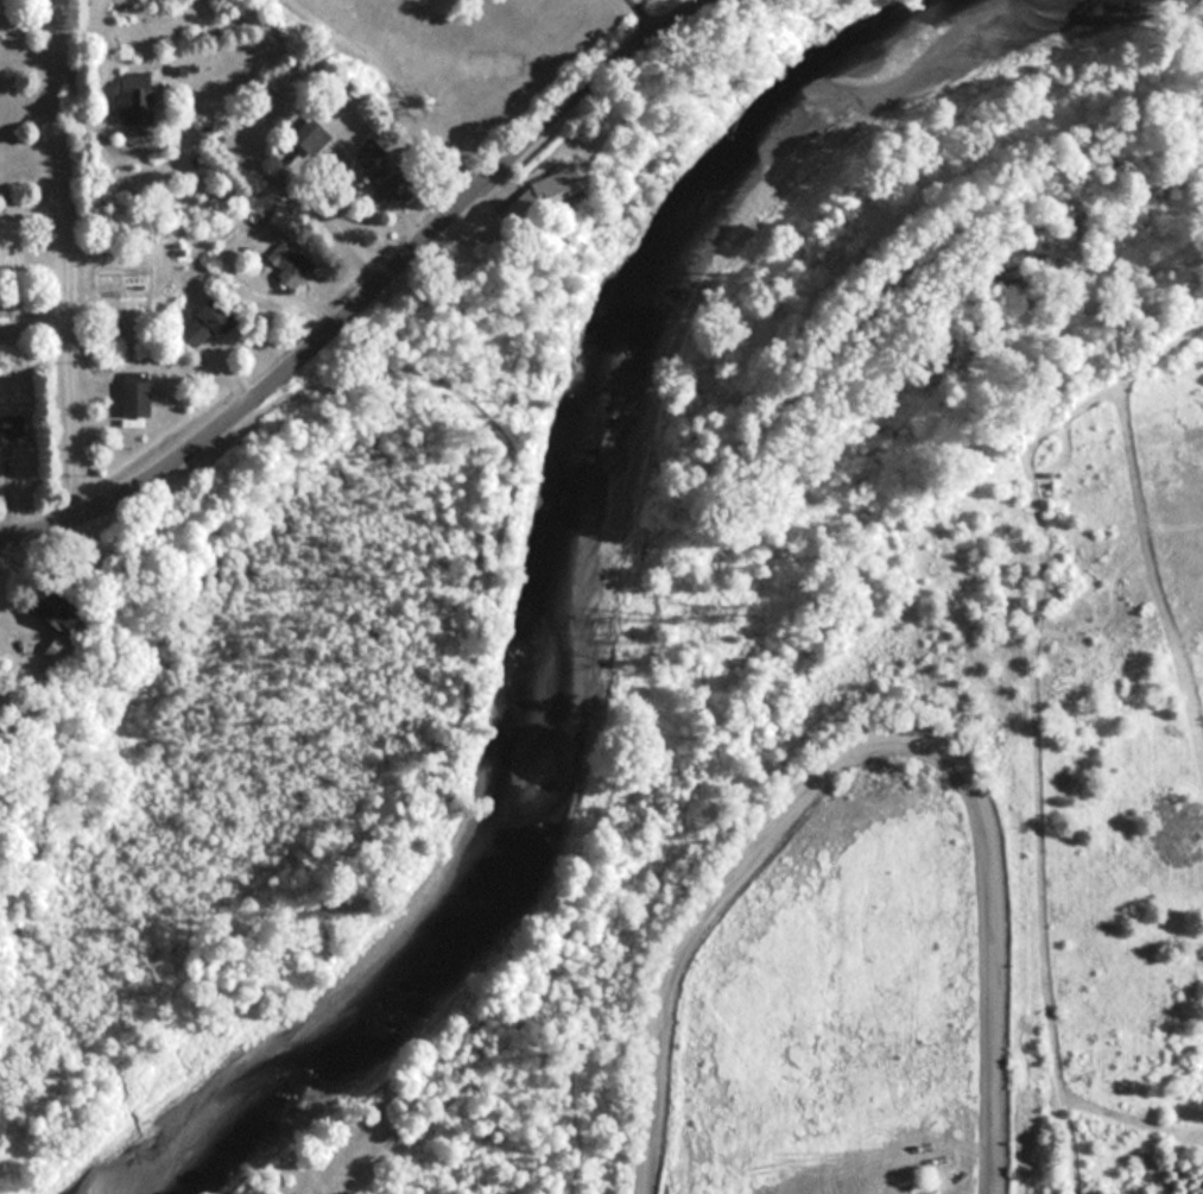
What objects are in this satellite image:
building: (128, 97)
building: (376, 168)
building: (545, 183)
road: (69, 258)
building: (283, 264)
road: (374, 293)
building: (197, 323)
building: (128, 394)
building: (8, 425)
river: (583, 560)
building: (38, 612)

